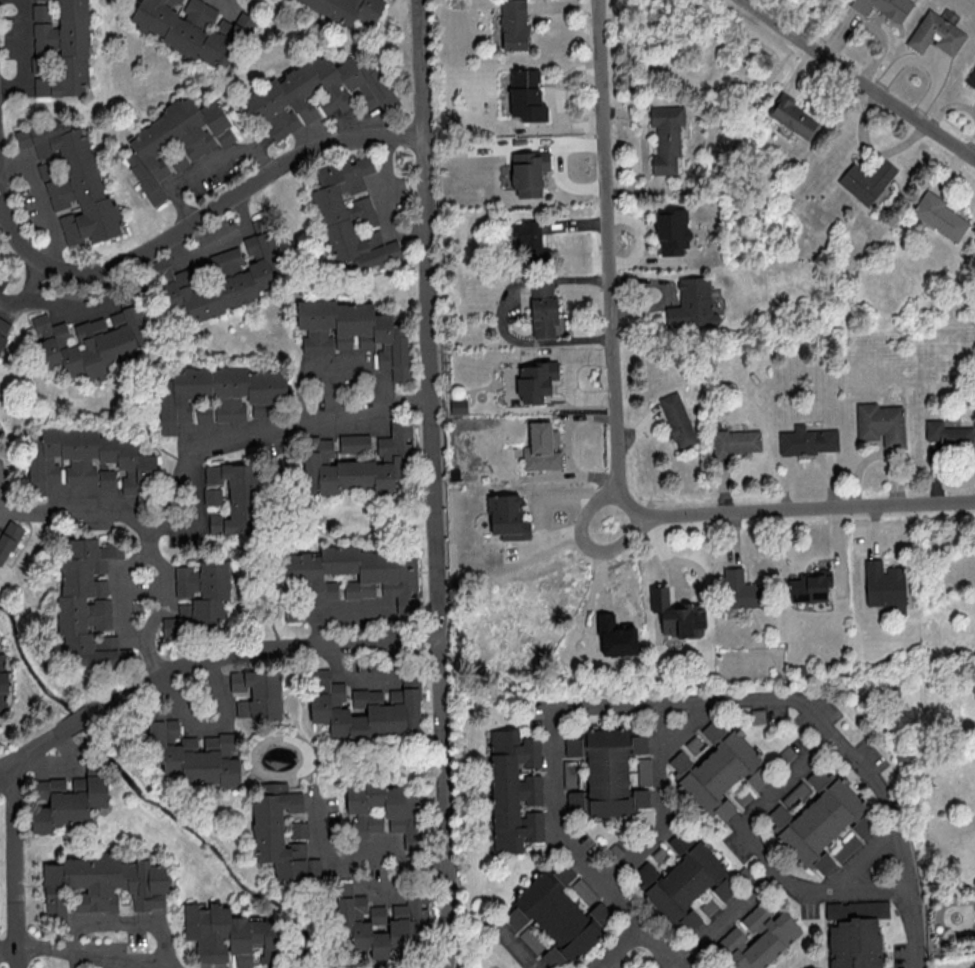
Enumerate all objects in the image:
building: (884, 7)
building: (347, 9)
building: (513, 24)
building: (193, 28)
building: (935, 34)
building: (60, 49)
road: (21, 51)
building: (971, 77)
road: (859, 79)
building: (526, 95)
building: (277, 96)
building: (793, 117)
building: (303, 133)
building: (666, 138)
building: (176, 141)
road: (208, 170)
building: (528, 172)
building: (866, 180)
building: (75, 181)
road: (2, 196)
road: (42, 197)
road: (382, 204)
building: (348, 212)
building: (940, 216)
road: (186, 227)
building: (673, 230)
road: (219, 240)
building: (531, 241)
building: (224, 276)
road: (29, 287)
building: (691, 304)
road: (81, 308)
building: (543, 310)
building: (3, 330)
building: (354, 331)
building: (91, 342)
road: (331, 368)
building: (536, 381)
road: (331, 390)
building: (216, 394)
building: (458, 405)
building: (677, 419)
building: (881, 423)
road: (619, 428)
building: (950, 432)
building: (808, 440)
building: (736, 441)
building: (354, 442)
building: (542, 447)
road: (193, 451)
building: (88, 459)
building: (359, 463)
building: (107, 478)
road: (3, 483)
road: (435, 484)
road: (3, 494)
building: (212, 496)
building: (235, 497)
road: (73, 502)
road: (537, 507)
road: (198, 513)
building: (507, 516)
building: (8, 538)
road: (586, 545)
building: (359, 573)
road: (144, 583)
building: (885, 585)
road: (163, 586)
building: (810, 586)
building: (740, 589)
building: (199, 596)
building: (88, 606)
road: (350, 608)
building: (675, 614)
building: (615, 637)
road: (265, 652)
building: (4, 682)
building: (258, 694)
road: (718, 700)
building: (363, 707)
road: (79, 717)
road: (212, 728)
building: (697, 746)
road: (29, 748)
building: (193, 752)
road: (662, 758)
road: (64, 769)
building: (718, 769)
building: (643, 771)
building: (605, 773)
building: (514, 790)
building: (66, 800)
road: (768, 803)
building: (387, 810)
building: (816, 820)
building: (862, 825)
building: (298, 829)
building: (279, 833)
road: (322, 842)
building: (845, 847)
road: (366, 848)
road: (634, 853)
road: (13, 864)
road: (427, 869)
building: (685, 881)
building: (103, 883)
road: (841, 889)
building: (584, 890)
road: (614, 906)
building: (558, 915)
road: (731, 918)
road: (125, 919)
building: (382, 924)
road: (914, 927)
building: (855, 933)
building: (231, 935)
building: (756, 938)
road: (7, 949)
road: (504, 949)
road: (615, 949)
road: (94, 954)
road: (681, 965)

